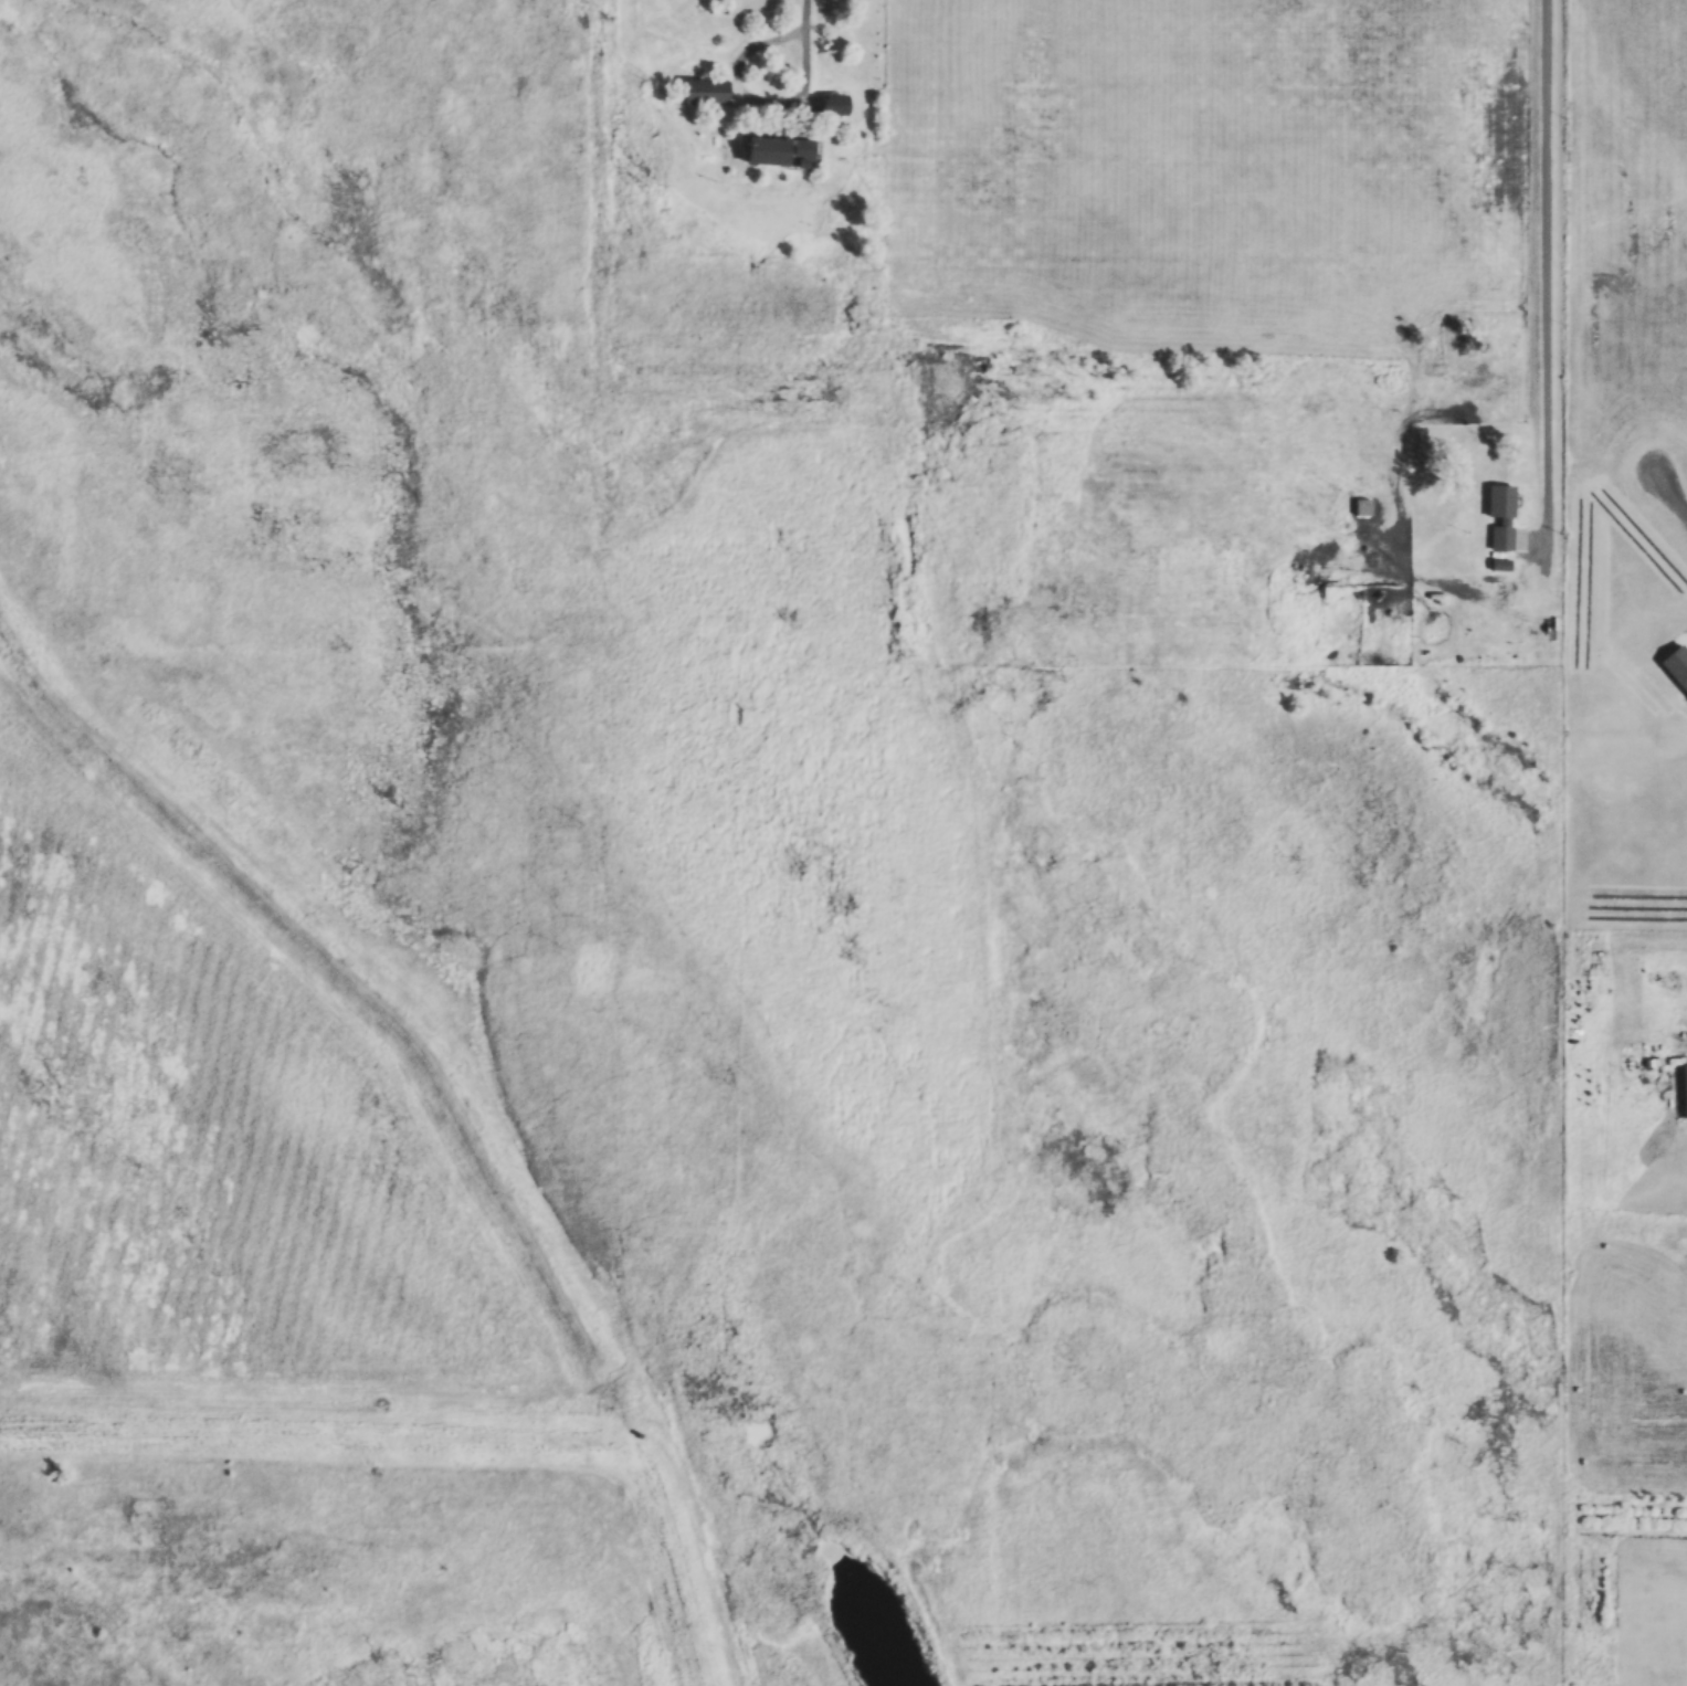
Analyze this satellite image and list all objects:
road: (805, 74)
road: (738, 76)
building: (702, 93)
building: (830, 106)
building: (759, 152)
building: (798, 152)
road: (1547, 283)
road: (1670, 498)
building: (1498, 516)
road: (1683, 1043)
building: (1683, 1089)
road: (357, 1439)

